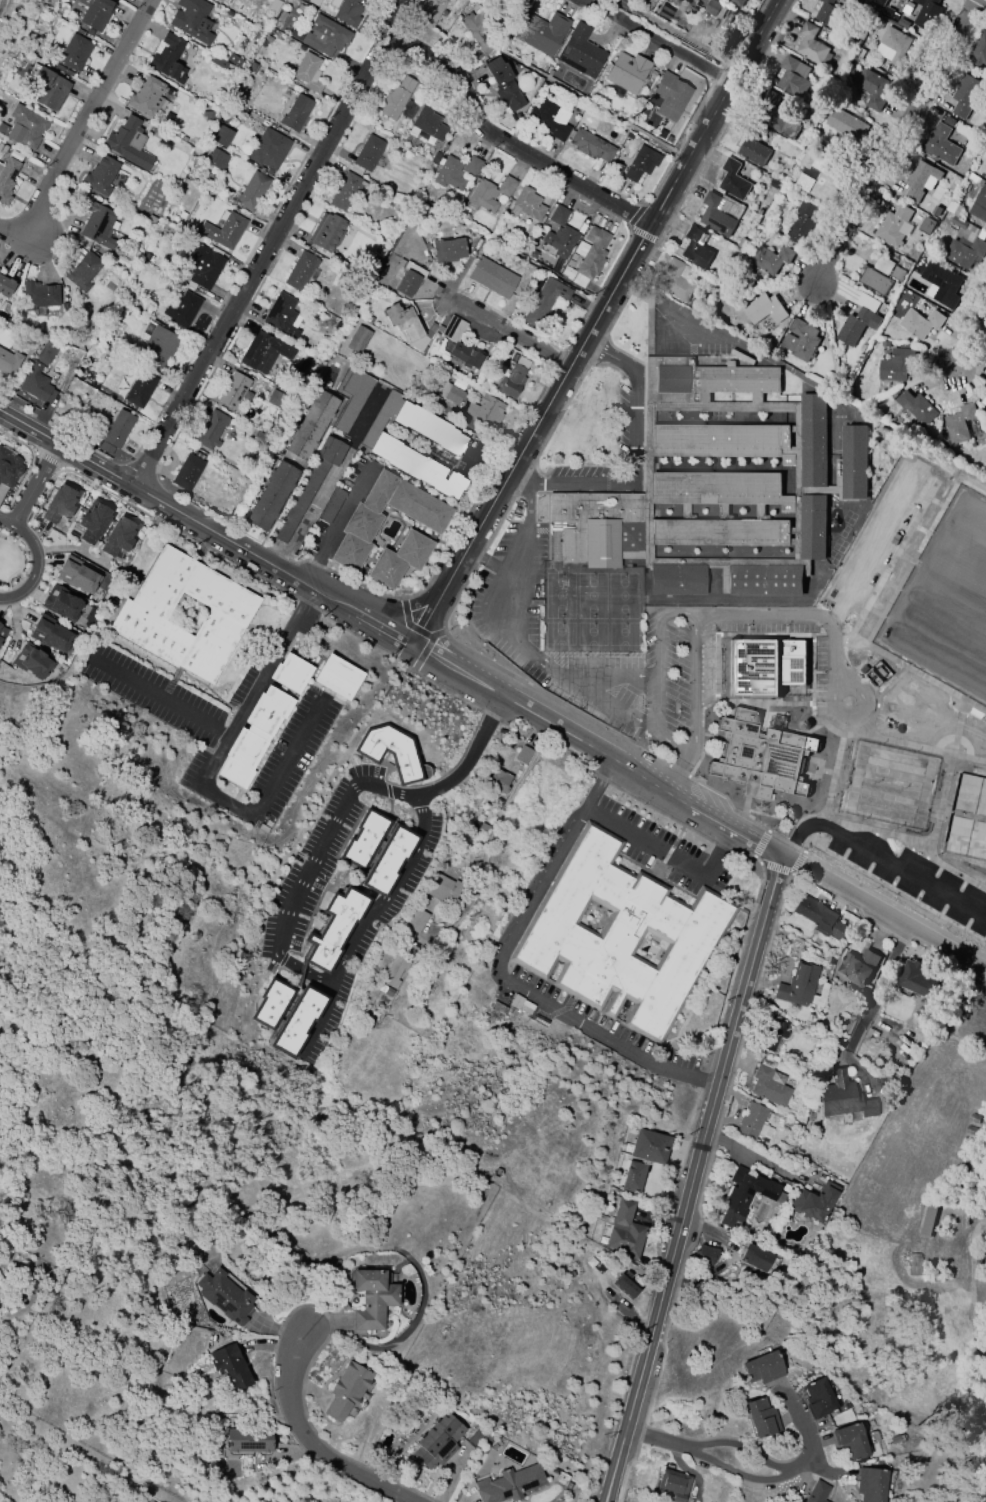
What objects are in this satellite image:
building: (737, 2)
building: (879, 2)
building: (712, 7)
building: (907, 7)
building: (348, 12)
building: (428, 12)
building: (887, 12)
building: (95, 13)
building: (829, 13)
building: (927, 14)
building: (281, 16)
building: (192, 20)
building: (902, 23)
building: (481, 32)
building: (541, 32)
building: (325, 36)
road: (680, 36)
road: (655, 43)
building: (810, 44)
building: (895, 47)
building: (579, 52)
building: (858, 52)
building: (74, 53)
building: (980, 53)
building: (168, 59)
building: (233, 60)
building: (216, 62)
building: (308, 72)
building: (627, 72)
building: (792, 76)
building: (503, 85)
building: (870, 88)
building: (49, 89)
building: (964, 95)
building: (146, 96)
building: (670, 96)
building: (395, 98)
building: (296, 113)
building: (207, 115)
building: (775, 116)
building: (549, 119)
building: (948, 121)
building: (428, 123)
building: (846, 125)
building: (25, 127)
road: (79, 128)
building: (220, 135)
road: (896, 142)
building: (128, 143)
road: (504, 144)
building: (752, 145)
building: (941, 145)
building: (590, 146)
building: (268, 149)
building: (368, 153)
building: (216, 160)
building: (640, 164)
building: (471, 165)
building: (617, 167)
building: (449, 173)
building: (819, 174)
building: (100, 175)
building: (6, 179)
building: (733, 180)
building: (918, 180)
building: (985, 180)
building: (774, 183)
building: (251, 191)
building: (345, 191)
building: (489, 193)
building: (979, 199)
building: (526, 205)
building: (935, 211)
building: (558, 215)
building: (715, 215)
building: (800, 223)
building: (97, 225)
building: (893, 225)
building: (926, 225)
building: (223, 230)
building: (326, 232)
building: (561, 241)
road: (269, 243)
building: (741, 243)
building: (965, 243)
building: (694, 248)
building: (447, 251)
building: (593, 252)
building: (770, 259)
building: (571, 265)
building: (883, 265)
building: (202, 267)
building: (81, 271)
building: (300, 271)
building: (896, 273)
building: (492, 278)
building: (408, 279)
building: (874, 280)
building: (675, 282)
building: (942, 283)
building: (5, 286)
building: (38, 296)
building: (543, 301)
building: (181, 309)
building: (764, 309)
building: (281, 315)
road: (690, 315)
road: (595, 317)
building: (368, 320)
building: (920, 322)
building: (856, 326)
building: (408, 327)
building: (453, 329)
road: (506, 330)
road: (970, 339)
building: (357, 340)
building: (800, 340)
building: (885, 343)
building: (158, 347)
parking lot: (710, 348)
building: (263, 351)
building: (45, 353)
road: (609, 354)
building: (466, 356)
building: (8, 364)
building: (896, 364)
building: (512, 382)
building: (985, 383)
building: (36, 384)
building: (139, 389)
building: (232, 391)
building: (453, 395)
building: (352, 398)
building: (275, 399)
building: (985, 402)
building: (916, 407)
building: (487, 412)
building: (381, 417)
parking lot: (622, 421)
building: (959, 423)
building: (310, 425)
building: (429, 428)
building: (211, 430)
building: (114, 432)
building: (260, 437)
building: (416, 467)
building: (8, 468)
parking lot: (582, 471)
building: (187, 472)
road: (630, 476)
building: (717, 484)
building: (309, 485)
road: (36, 486)
road: (529, 487)
building: (271, 495)
building: (60, 503)
building: (332, 505)
road: (305, 517)
building: (92, 521)
road: (337, 524)
building: (360, 524)
building: (119, 536)
park: (946, 540)
road: (521, 546)
building: (398, 559)
road: (35, 561)
road: (489, 563)
building: (77, 575)
parking lot: (510, 592)
building: (61, 603)
park: (973, 608)
road: (509, 610)
road: (677, 612)
road: (753, 614)
building: (185, 615)
road: (391, 627)
building: (2, 633)
building: (50, 634)
road: (829, 649)
building: (31, 662)
building: (765, 664)
building: (290, 673)
building: (337, 677)
parking lot: (676, 677)
road: (254, 683)
road: (693, 685)
park: (916, 689)
road: (658, 691)
road: (154, 696)
road: (867, 698)
building: (253, 736)
building: (391, 752)
building: (522, 755)
building: (760, 755)
road: (290, 759)
road: (462, 771)
road: (677, 773)
building: (498, 782)
road: (597, 790)
road: (221, 800)
building: (497, 803)
building: (483, 827)
building: (363, 839)
road: (646, 845)
road: (719, 853)
building: (388, 861)
park: (966, 867)
road: (310, 868)
building: (443, 889)
road: (538, 900)
road: (378, 908)
road: (881, 911)
building: (819, 918)
building: (416, 920)
building: (333, 929)
building: (621, 937)
building: (857, 967)
building: (393, 971)
building: (916, 979)
building: (798, 986)
building: (385, 991)
building: (271, 1003)
road: (870, 1004)
road: (325, 1019)
building: (297, 1021)
road: (589, 1027)
building: (771, 1033)
road: (700, 1082)
building: (768, 1087)
building: (843, 1098)
building: (751, 1121)
building: (649, 1146)
road: (755, 1158)
building: (633, 1177)
road: (693, 1178)
road: (707, 1189)
building: (747, 1195)
building: (813, 1202)
building: (624, 1231)
building: (705, 1255)
building: (755, 1257)
road: (730, 1261)
building: (625, 1285)
building: (225, 1297)
building: (372, 1298)
road: (401, 1335)
building: (230, 1366)
building: (760, 1368)
building: (347, 1392)
building: (817, 1398)
building: (759, 1417)
building: (477, 1436)
road: (807, 1436)
road: (660, 1439)
building: (248, 1440)
building: (852, 1440)
building: (437, 1442)
road: (310, 1444)
road: (745, 1444)
parking lot: (698, 1459)
road: (680, 1462)
road: (739, 1475)
building: (509, 1484)
parking lot: (756, 1484)
building: (874, 1484)
building: (672, 1485)
building: (817, 1493)

